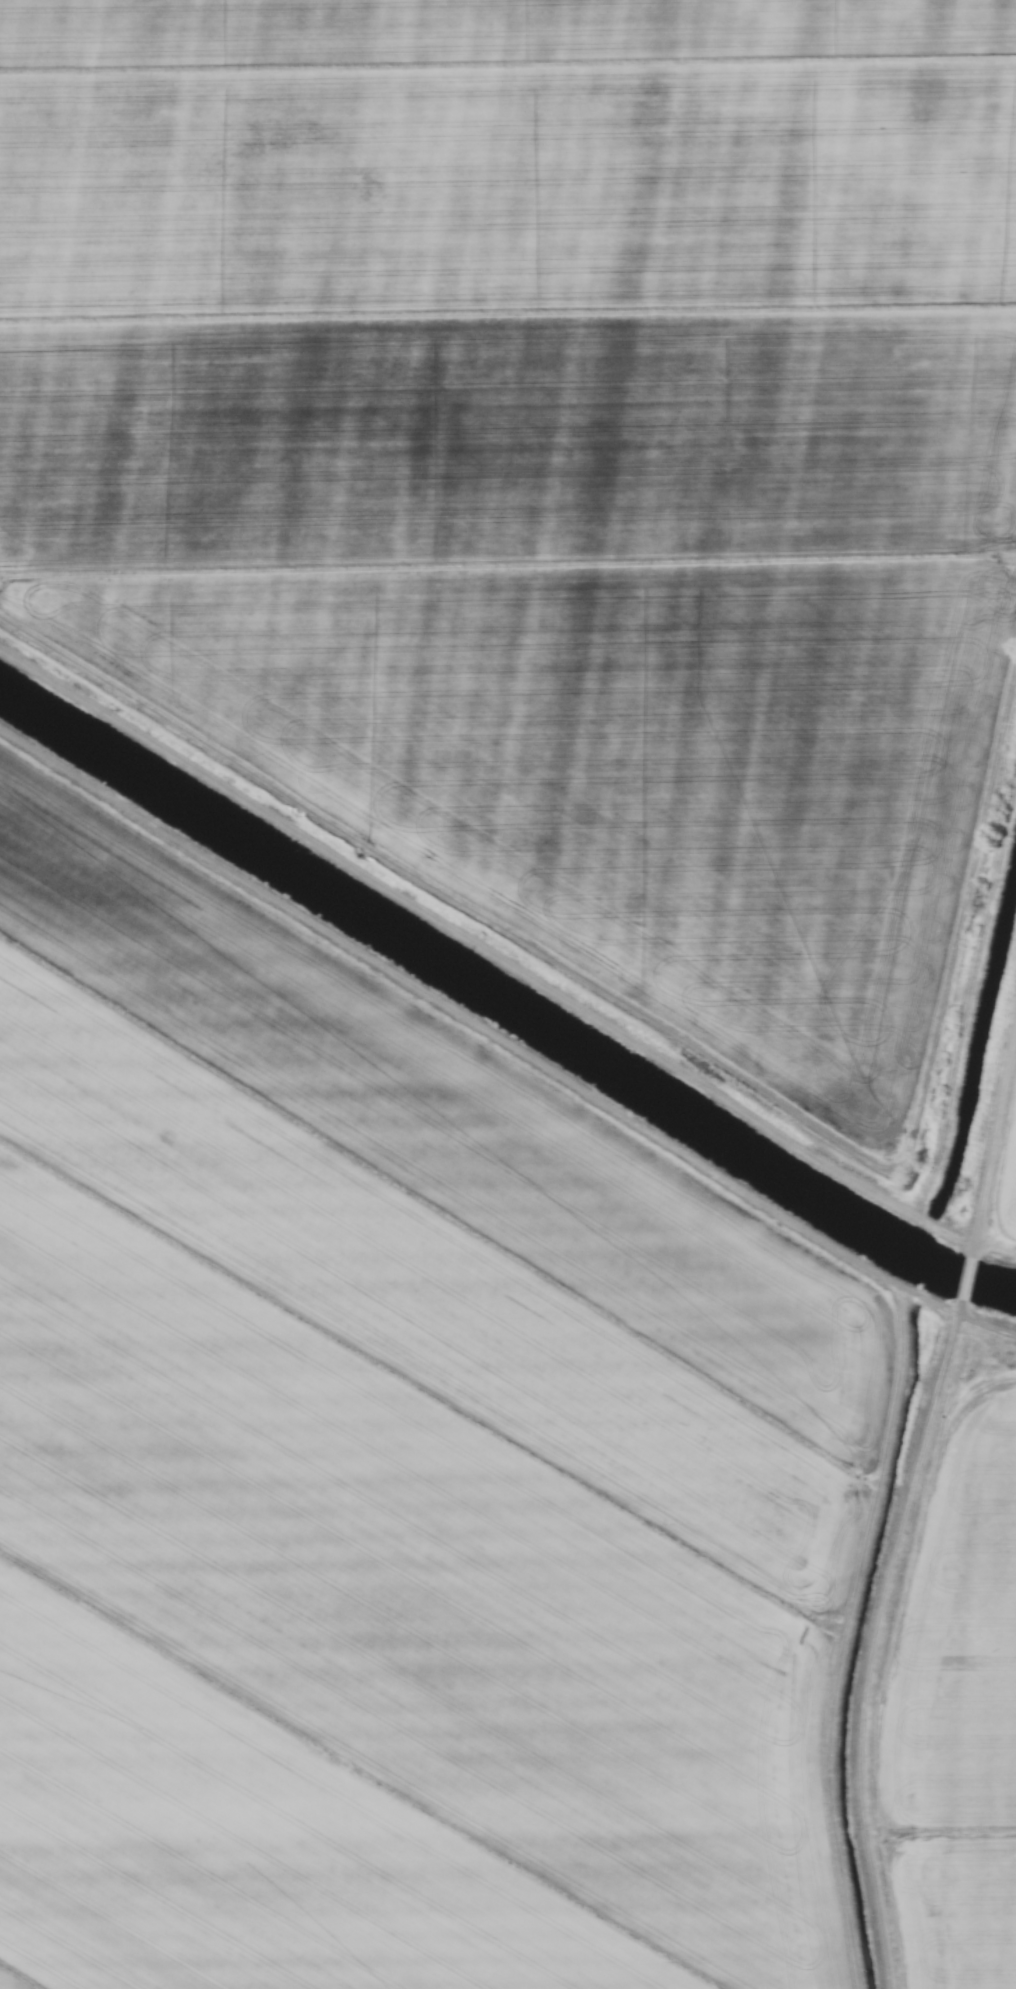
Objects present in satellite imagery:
road: (906, 1457)

